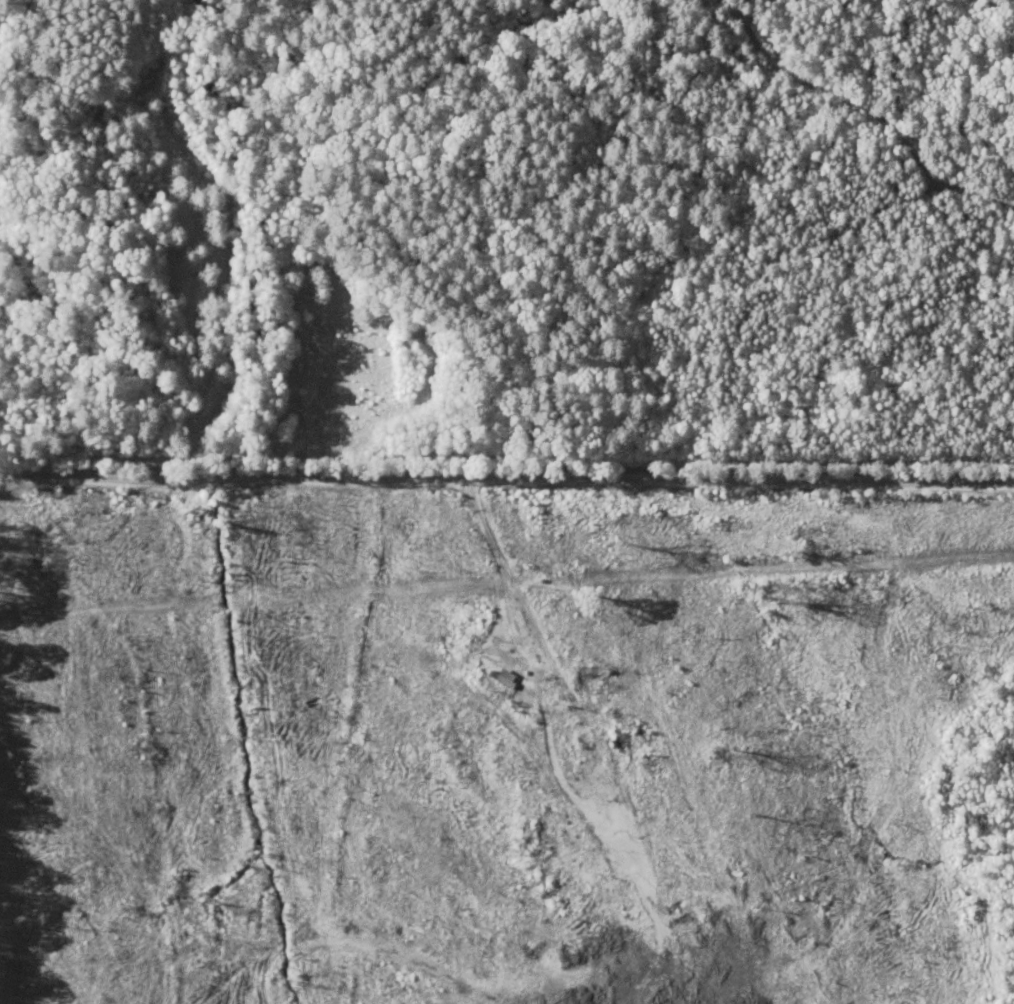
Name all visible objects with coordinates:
road: (768, 236)
road: (507, 496)

